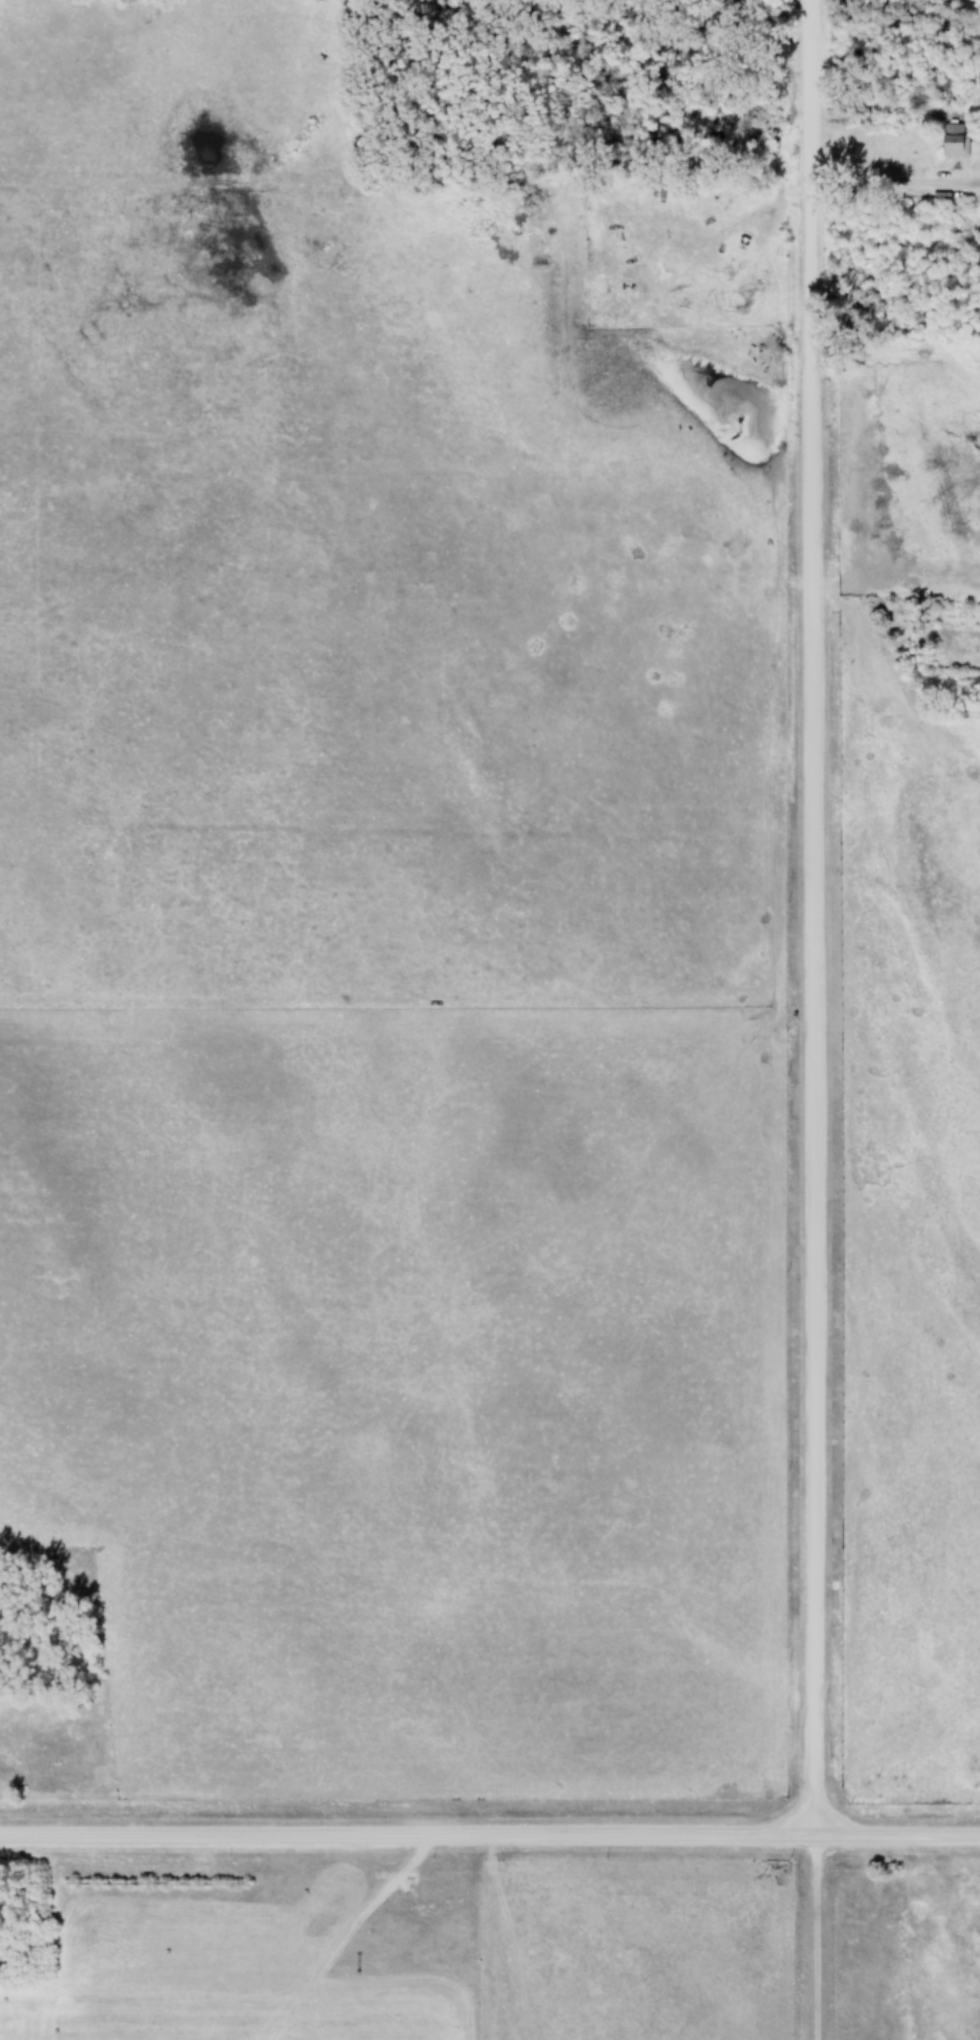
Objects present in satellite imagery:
building: (955, 139)
road: (896, 180)
building: (979, 205)
building: (752, 296)
road: (816, 1019)
road: (490, 1833)

